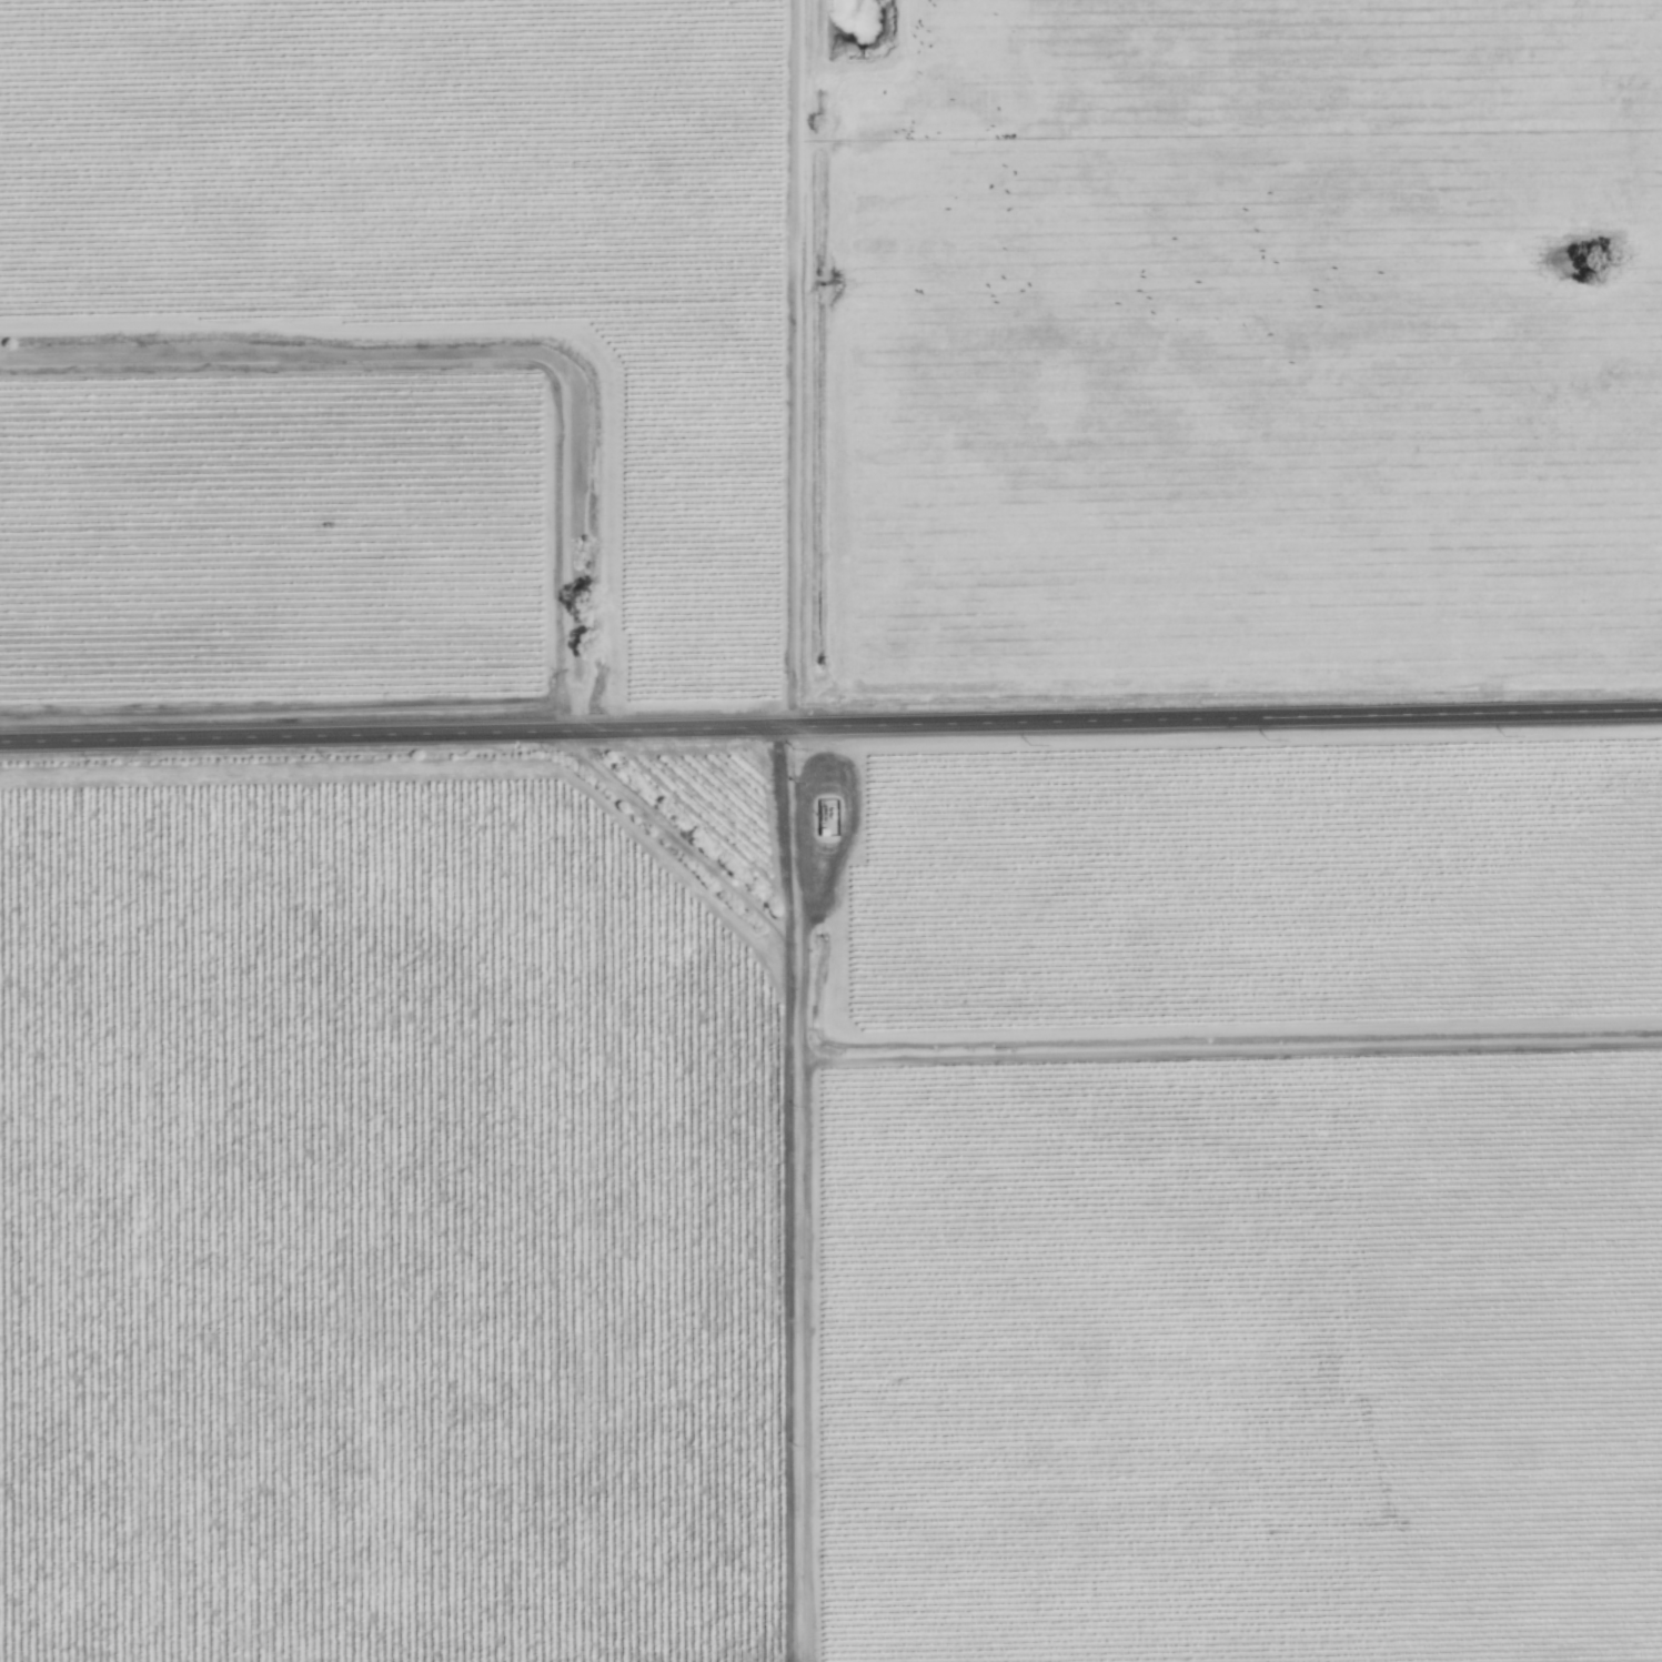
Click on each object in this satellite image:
road: (786, 363)
road: (830, 726)
road: (668, 835)
road: (1067, 1034)
road: (1225, 1050)
road: (789, 1268)

